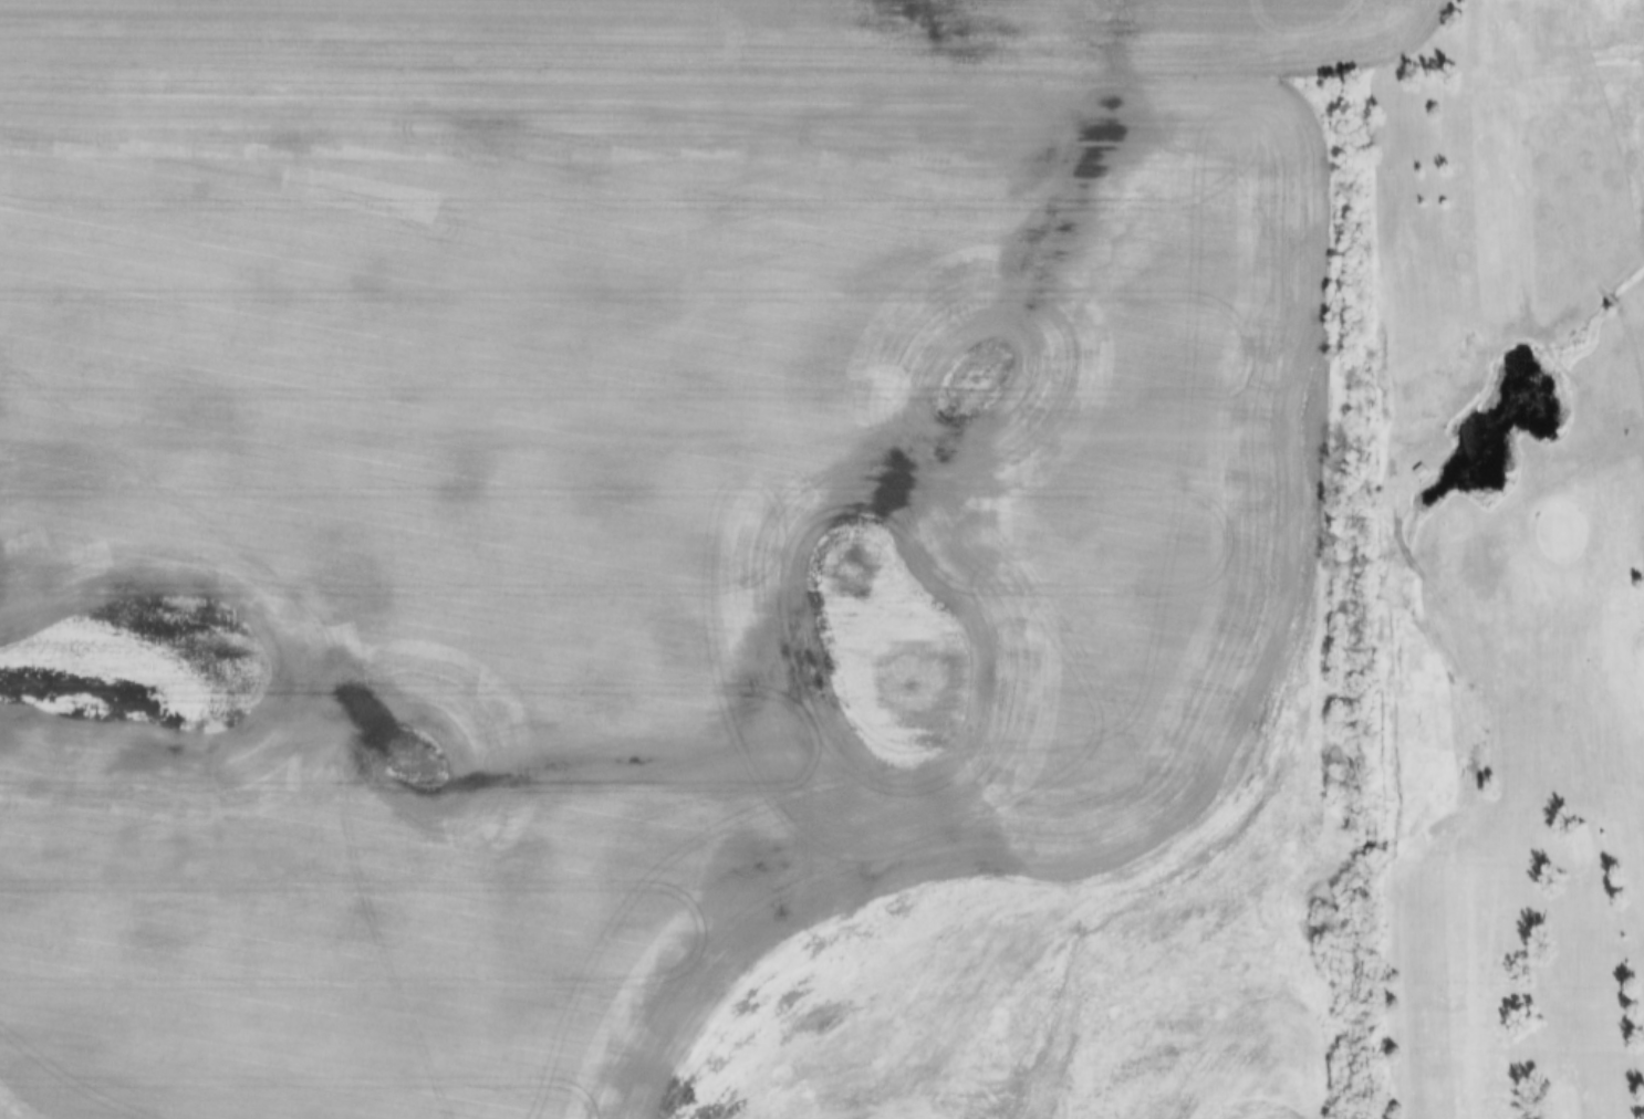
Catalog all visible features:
park: (1517, 563)

